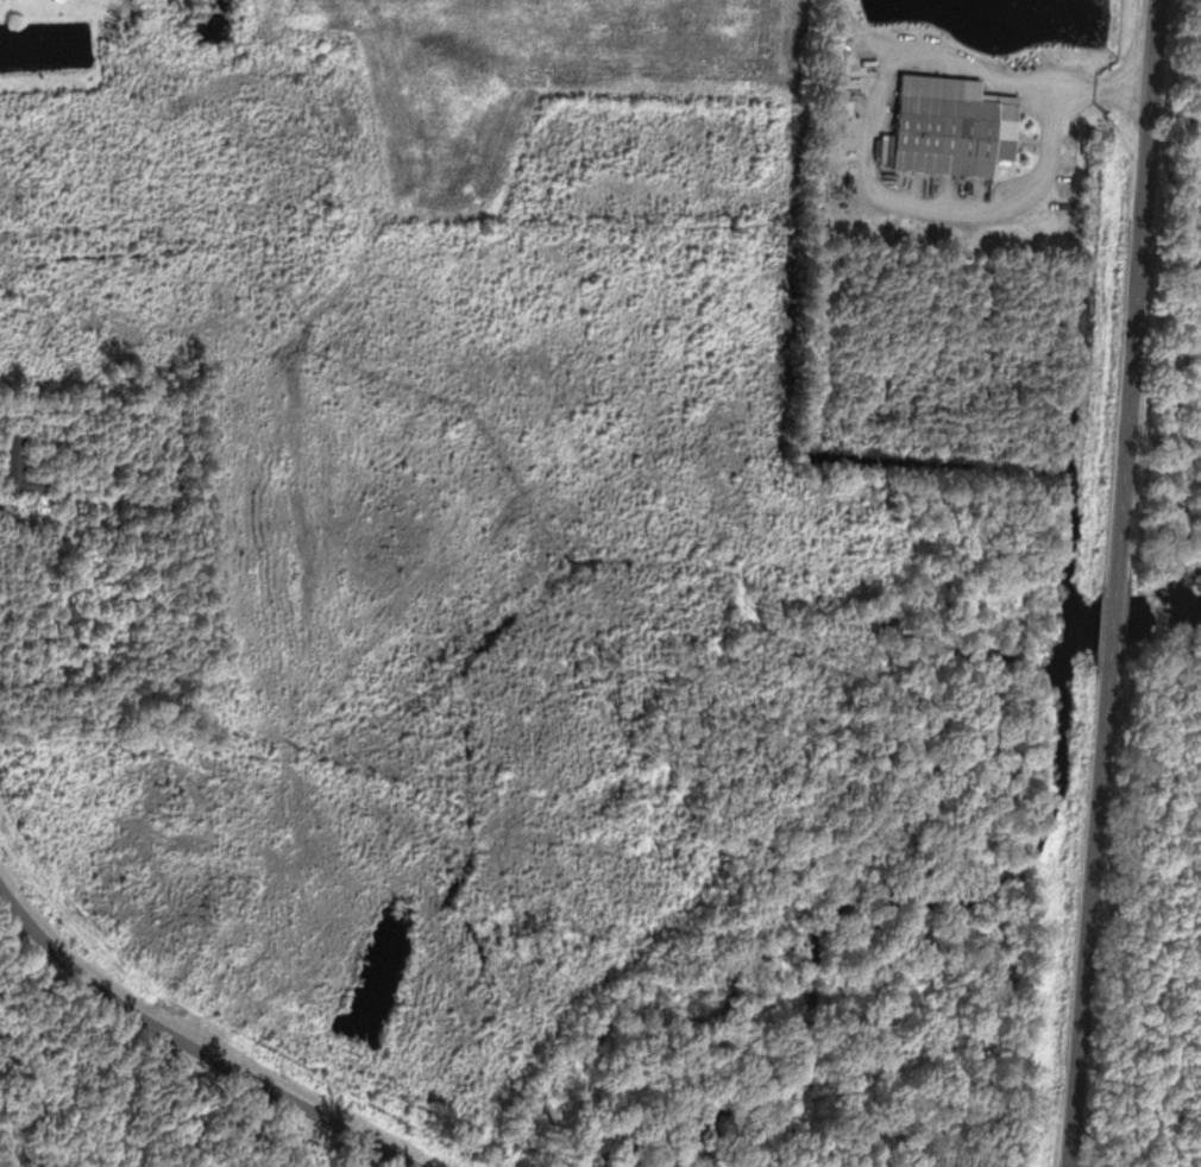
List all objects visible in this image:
building: (958, 127)
building: (849, 133)
building: (24, 468)
road: (1117, 583)
building: (80, 622)
road: (189, 1047)

